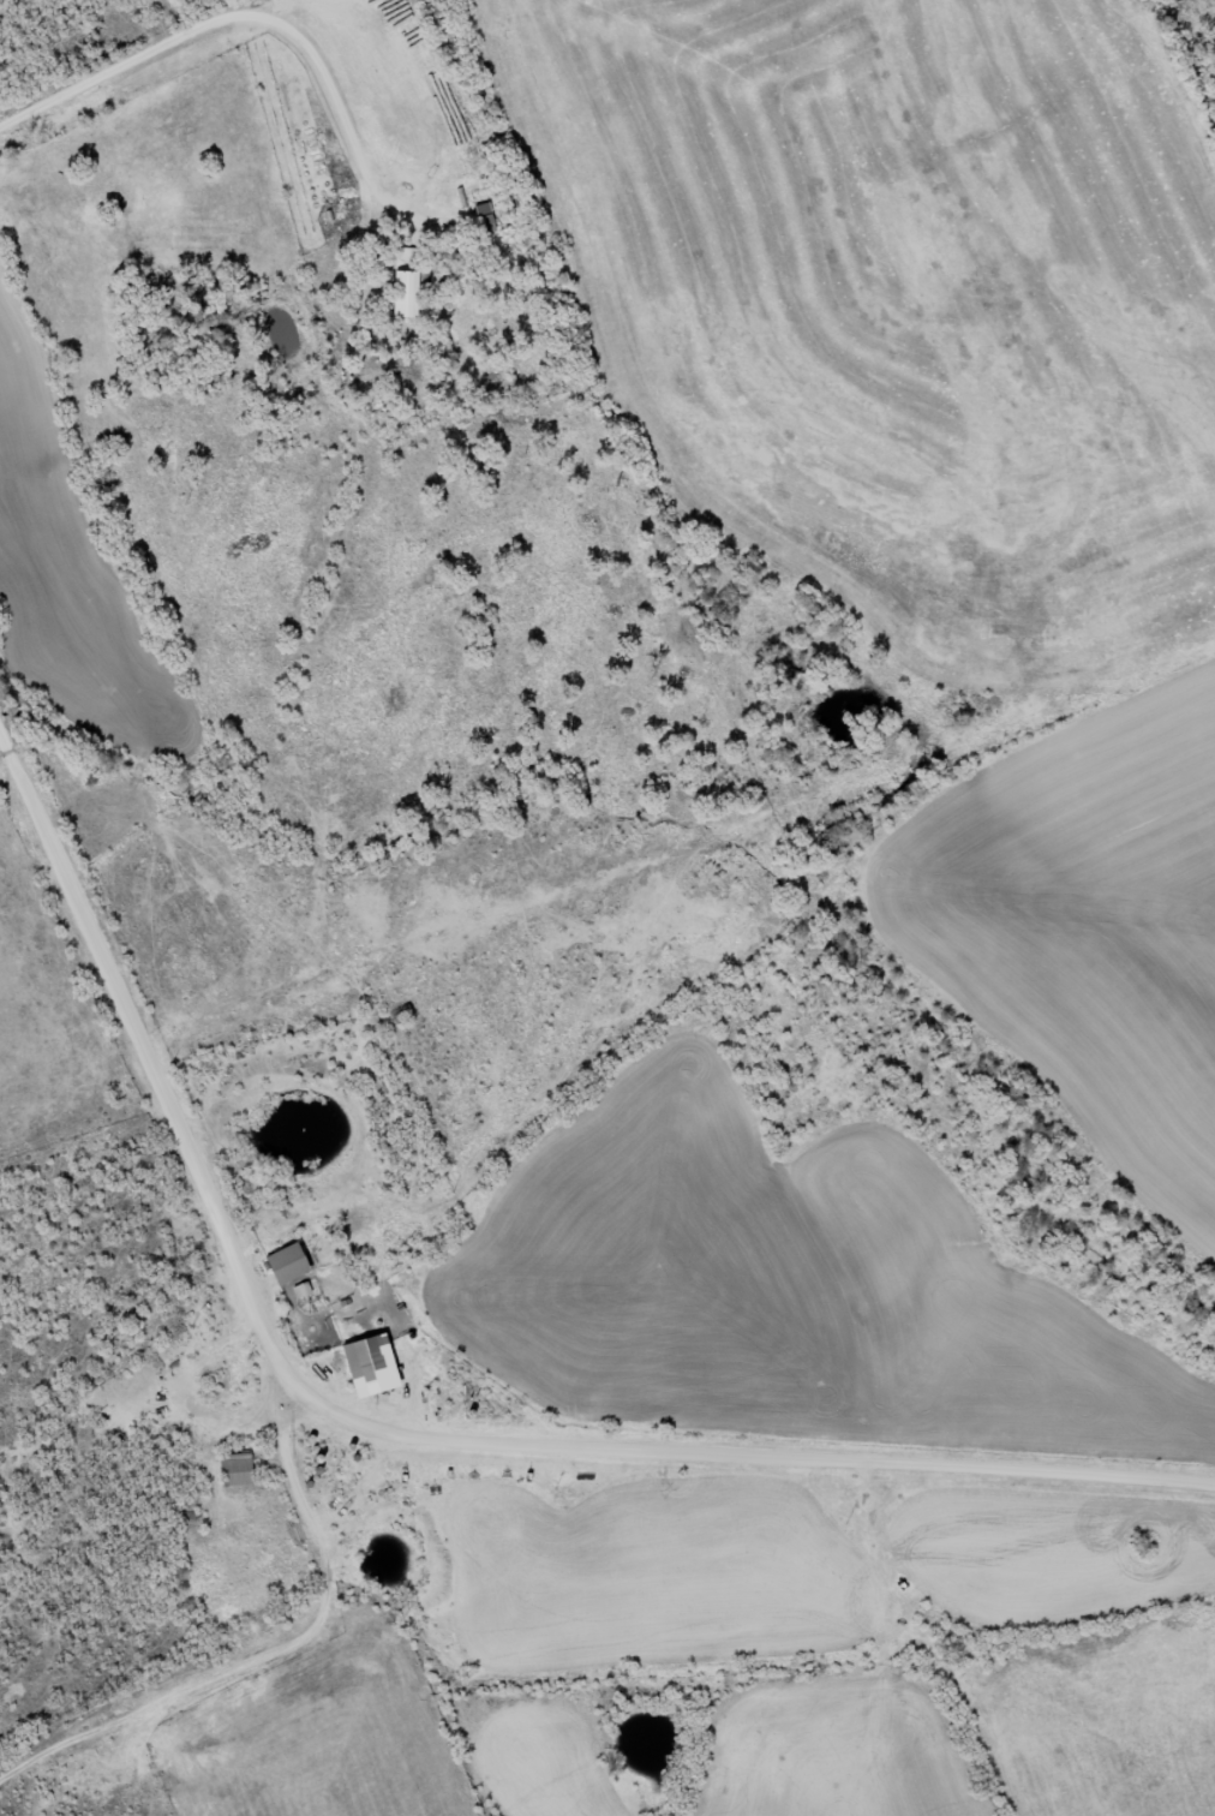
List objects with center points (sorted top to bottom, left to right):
road: (116, 64)
building: (486, 221)
building: (405, 282)
road: (657, 1034)
building: (283, 1265)
building: (361, 1366)
road: (389, 1429)
building: (232, 1470)
road: (777, 1504)
road: (954, 1504)
road: (1005, 1681)
road: (843, 1702)

